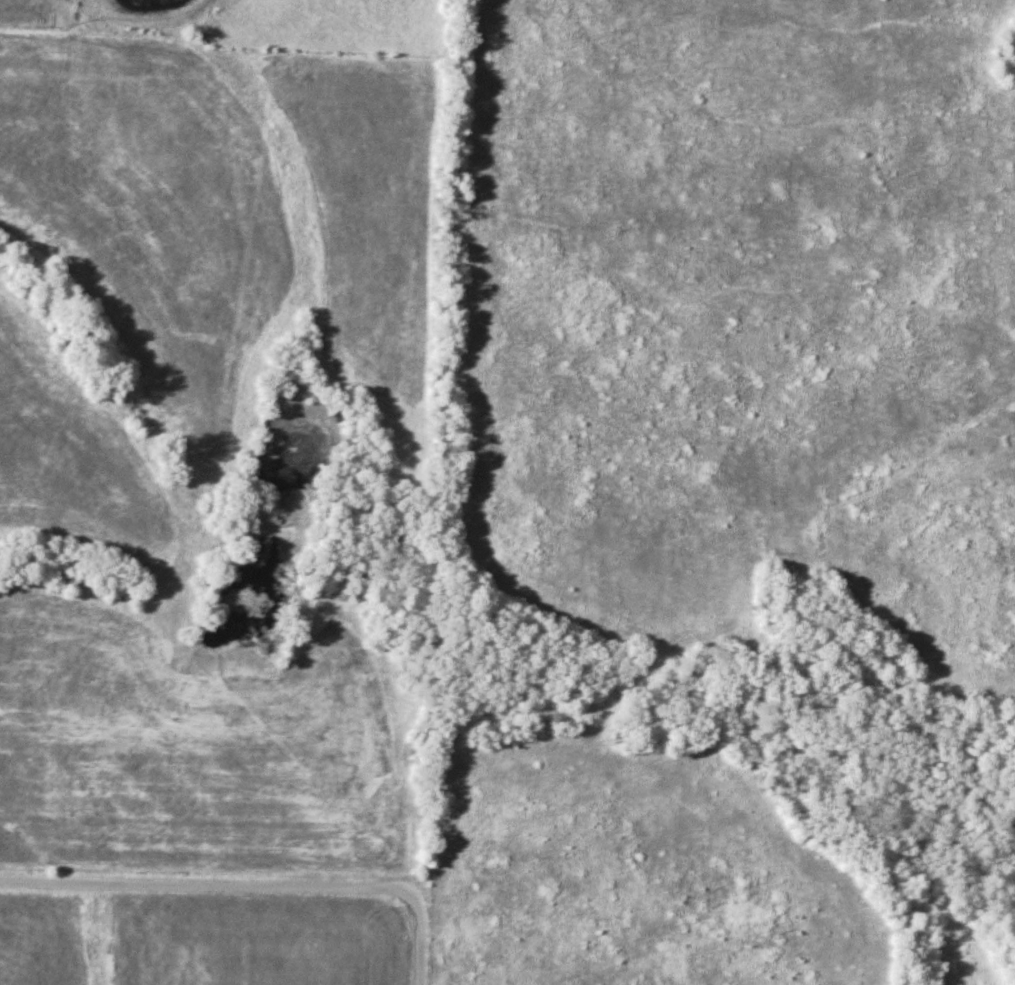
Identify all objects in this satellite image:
road: (251, 886)

